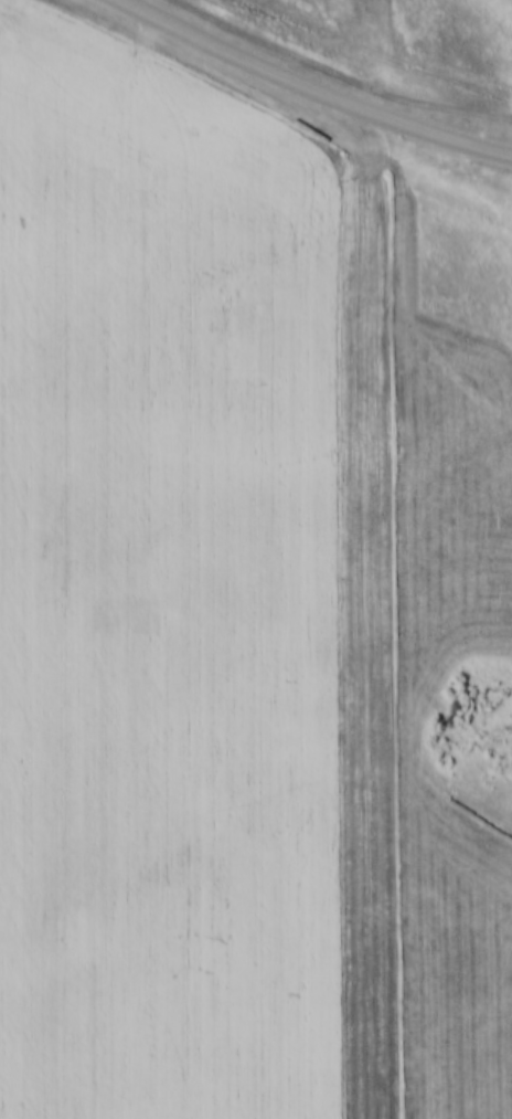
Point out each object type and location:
road: (314, 88)

